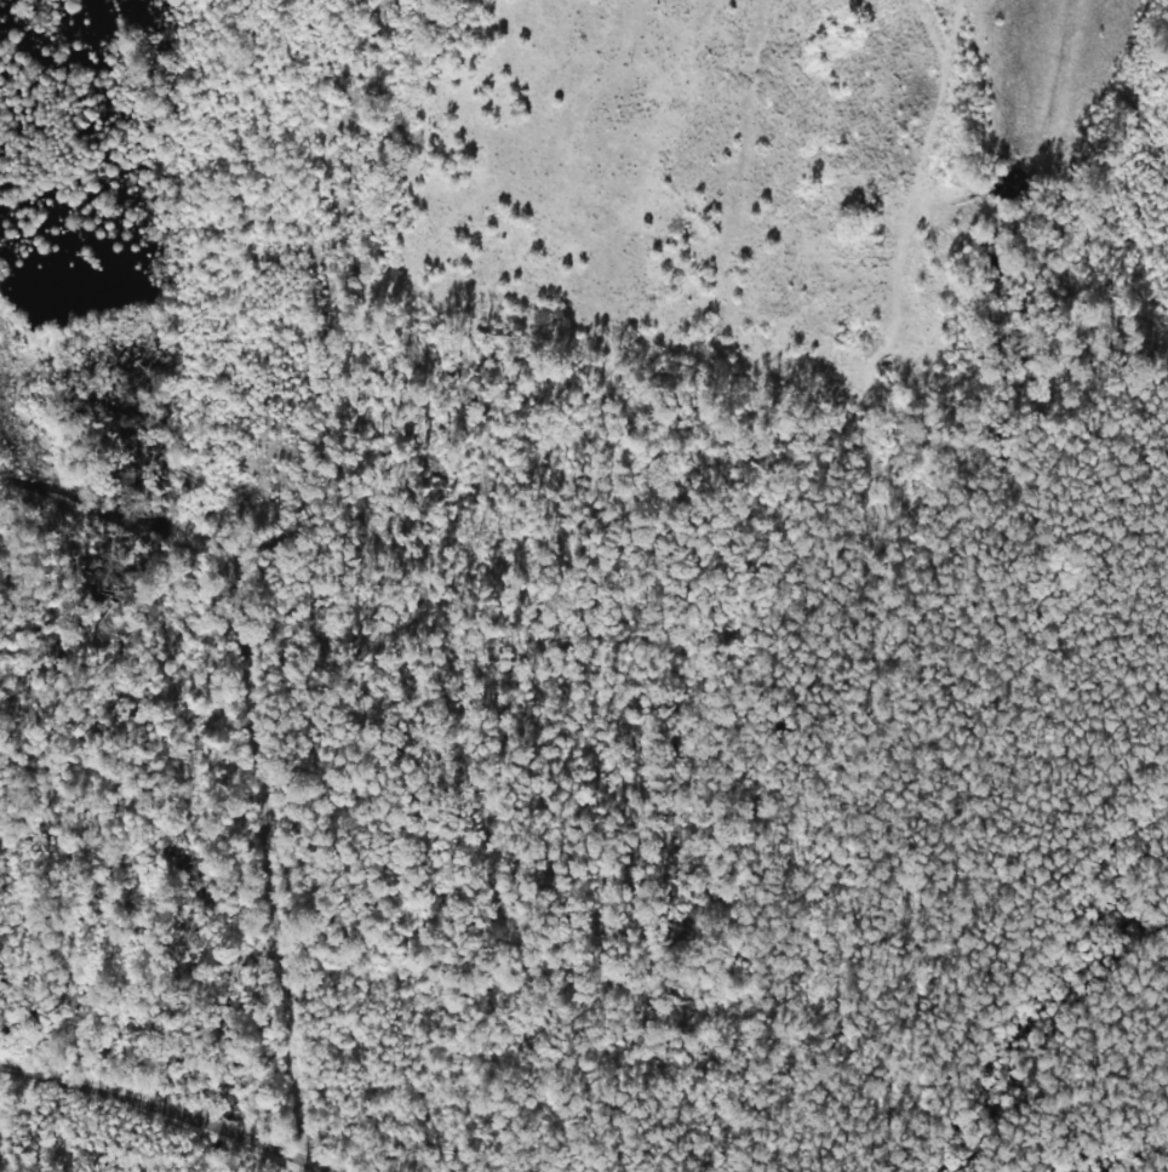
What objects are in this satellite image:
road: (154, 1134)

